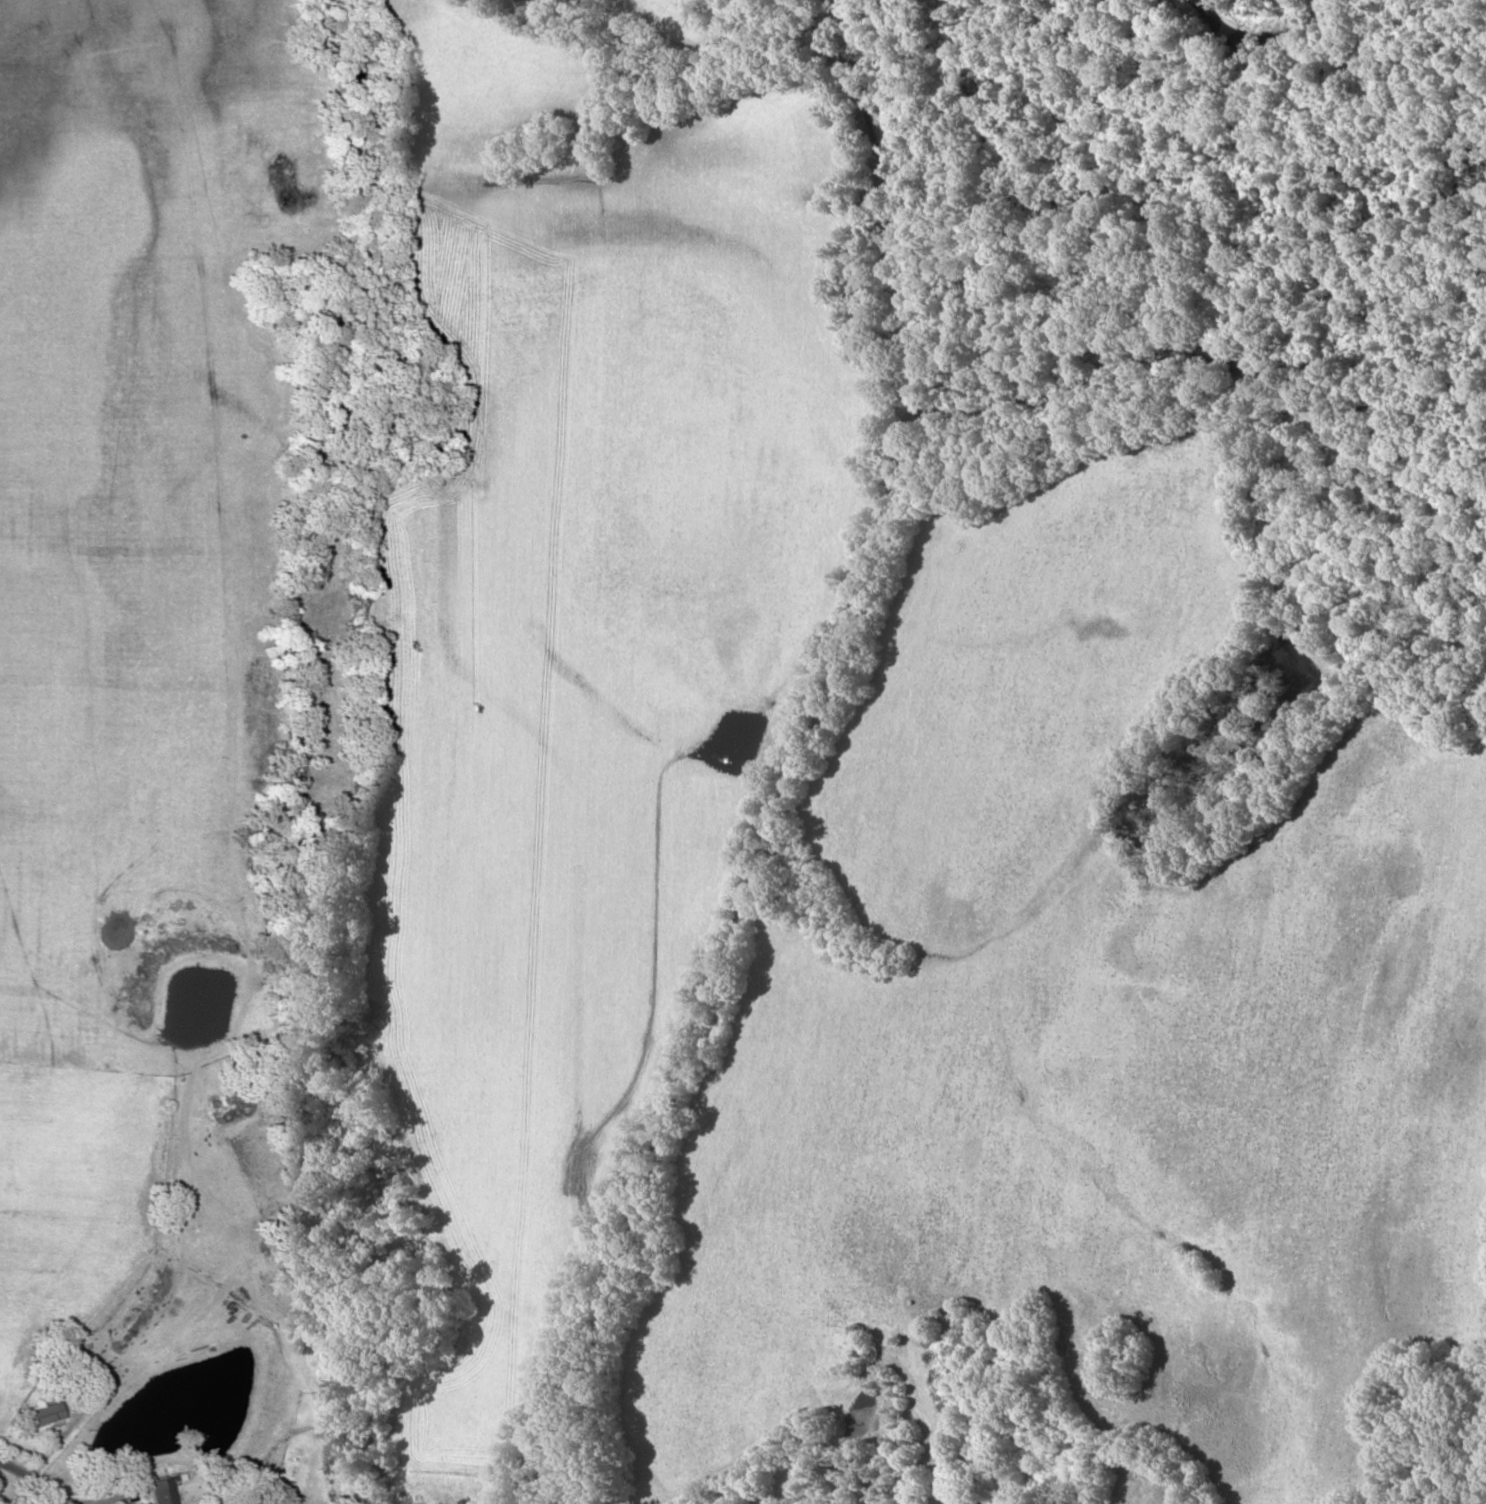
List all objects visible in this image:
building: (45, 1414)
road: (31, 1483)
building: (161, 1491)

